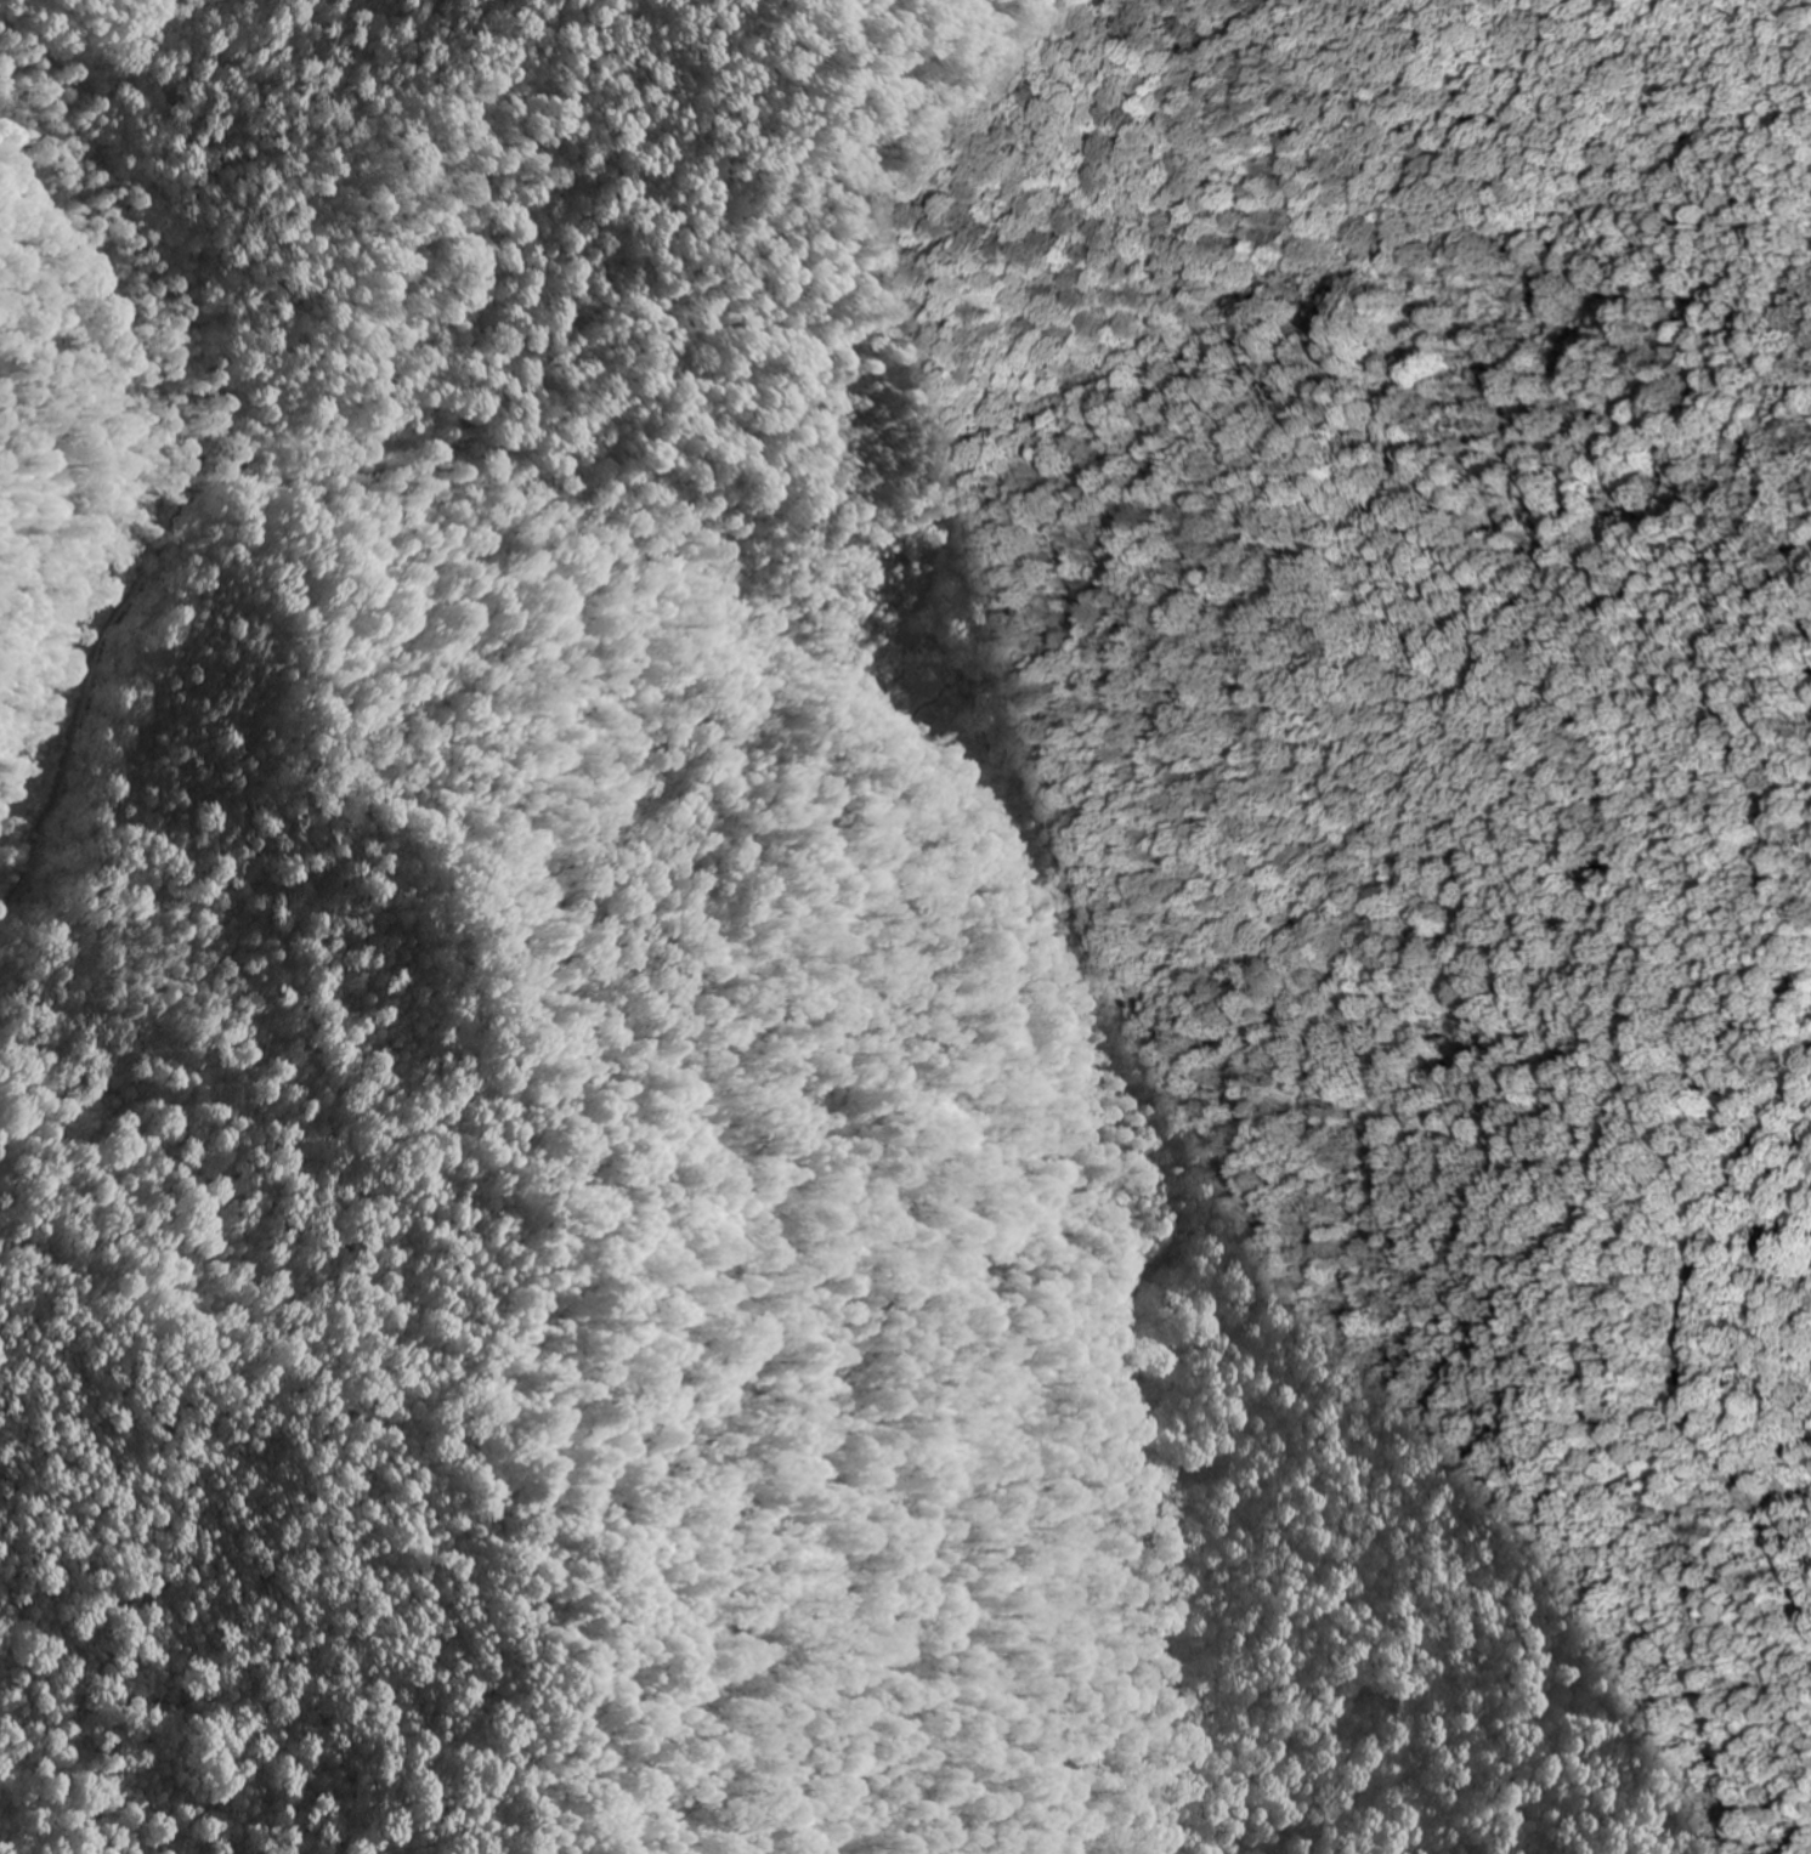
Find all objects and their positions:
road: (1795, 1087)
road: (1676, 1373)

